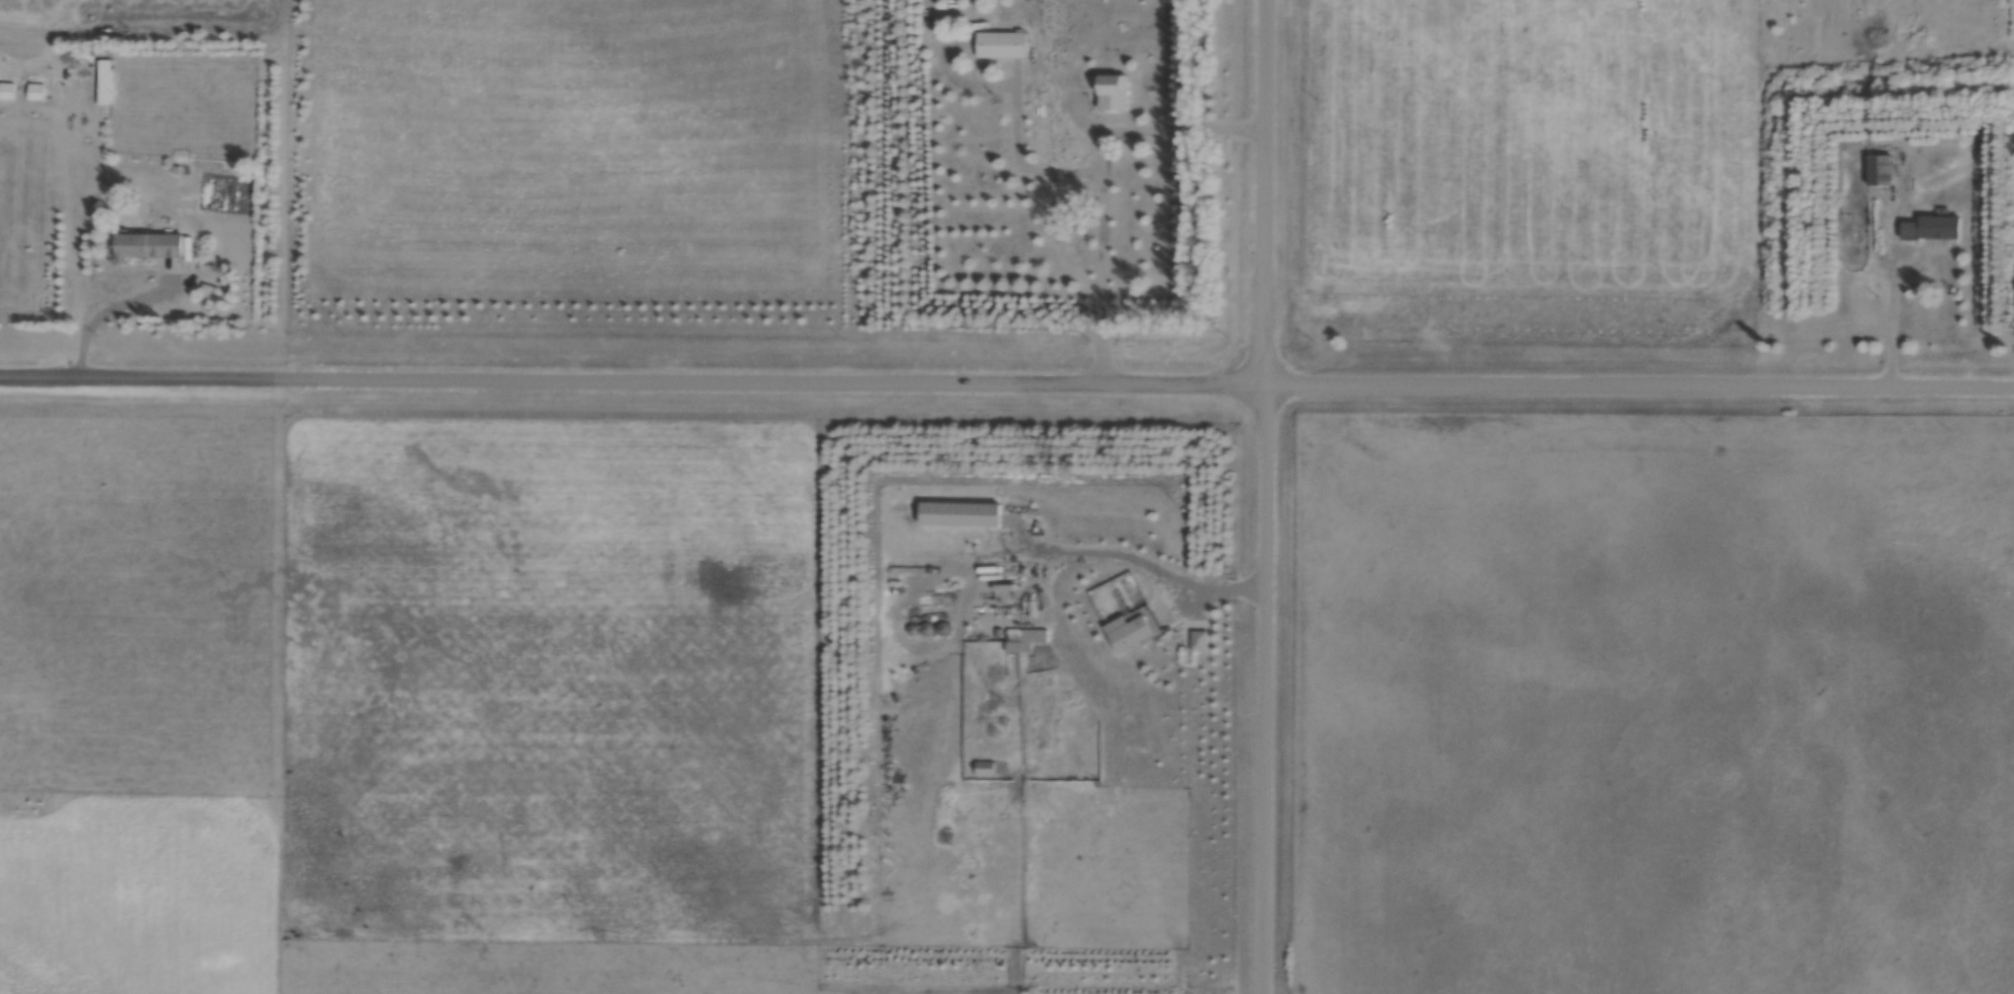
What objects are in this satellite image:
building: (1001, 45)
building: (104, 81)
building: (6, 90)
building: (35, 91)
building: (1112, 91)
building: (1880, 171)
road: (1104, 177)
building: (1933, 228)
building: (146, 246)
road: (105, 310)
road: (1895, 312)
road: (1006, 384)
road: (1265, 496)
building: (960, 512)
road: (1126, 551)
building: (1131, 633)
building: (1199, 639)
building: (984, 768)

